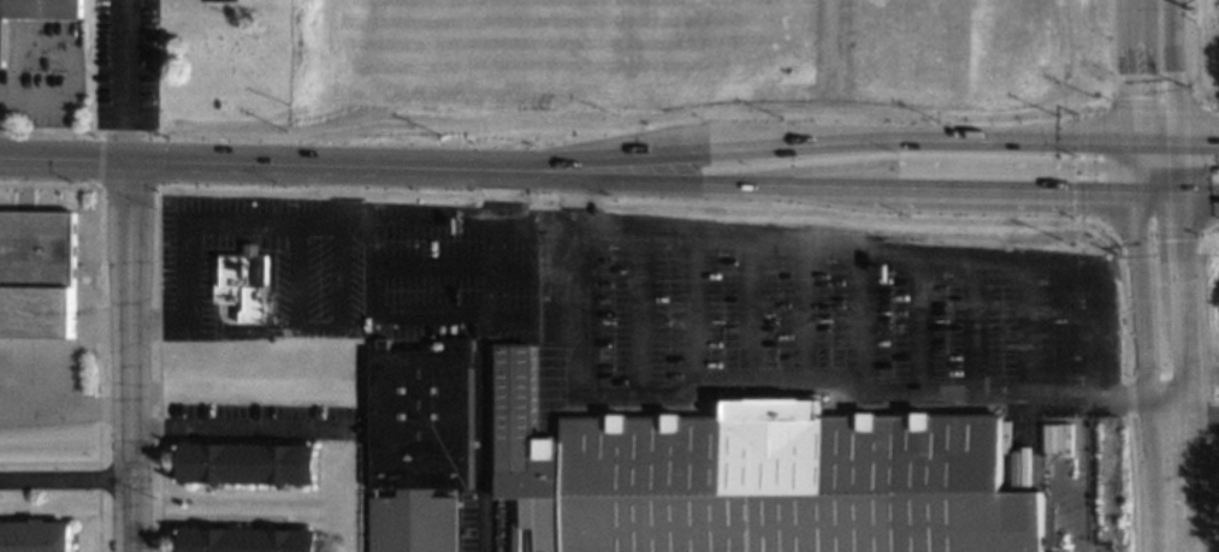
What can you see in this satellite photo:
building: (220, 0)
road: (1134, 4)
building: (35, 13)
power tower: (1194, 17)
crop: (1200, 52)
road: (1168, 69)
road: (1132, 72)
road: (125, 79)
road: (1067, 138)
traffic signals: (1134, 138)
road: (1152, 138)
traffic signals: (1171, 138)
road: (1195, 138)
road: (746, 148)
road: (1134, 152)
road: (1156, 155)
road: (1172, 156)
road: (929, 161)
road: (245, 164)
traffic signals: (1135, 165)
road: (1195, 171)
road: (570, 176)
traffic signals: (1173, 176)
road: (1149, 180)
road: (1135, 182)
road: (732, 184)
road: (1173, 188)
road: (344, 190)
road: (492, 194)
road: (974, 194)
traffic signals: (1135, 200)
road: (1154, 200)
road: (1196, 200)
road: (575, 201)
traffic signals: (1173, 201)
road: (345, 221)
road: (187, 225)
road: (576, 248)
road: (419, 265)
road: (533, 272)
building: (36, 274)
parking lot: (298, 284)
building: (243, 289)
road: (298, 295)
road: (1140, 304)
road: (1176, 304)
parking lot: (741, 308)
road: (633, 311)
road: (688, 314)
road: (741, 316)
road: (797, 319)
road: (857, 320)
road: (532, 322)
road: (913, 322)
road: (970, 325)
road: (1026, 326)
road: (128, 356)
road: (484, 385)
road: (1126, 398)
road: (1191, 412)
road: (241, 427)
building: (421, 446)
building: (249, 464)
road: (64, 479)
building: (768, 479)
road: (1164, 479)
parking lot: (473, 528)
building: (35, 536)
building: (249, 540)

